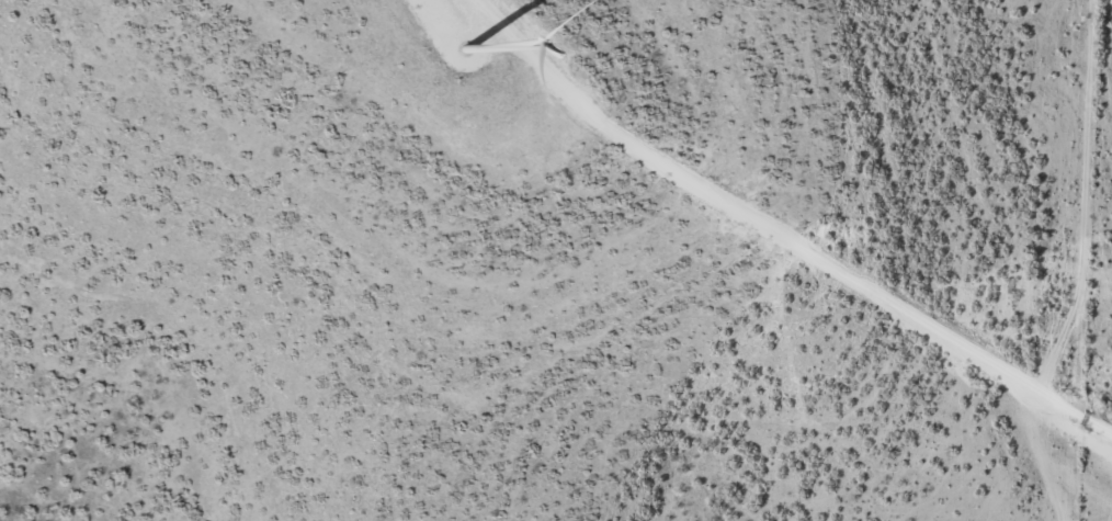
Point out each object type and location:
wind turbine: (465, 48)
road: (1105, 448)

